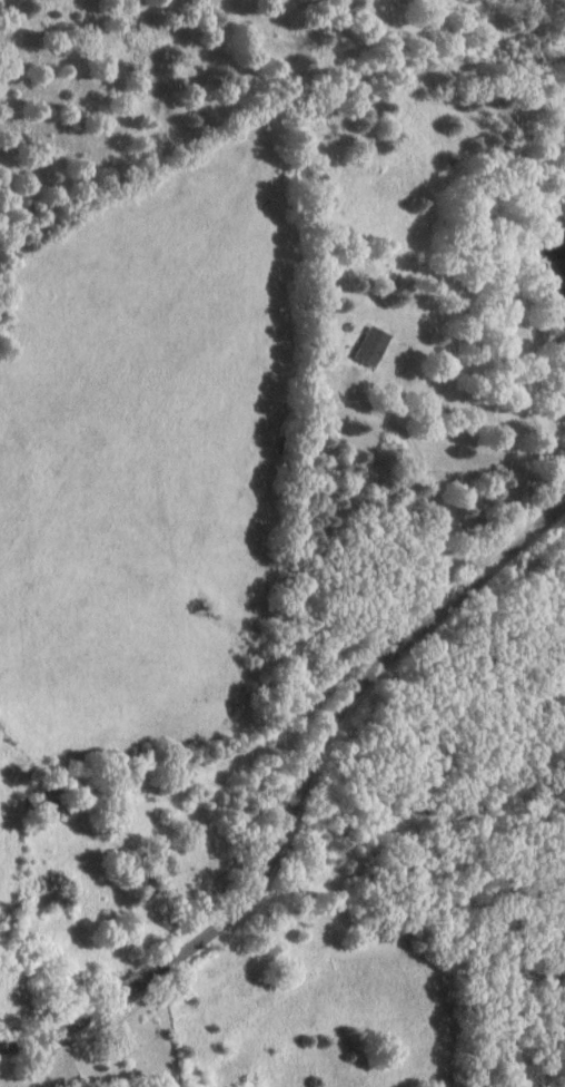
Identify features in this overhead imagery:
building: (366, 347)
road: (275, 761)

